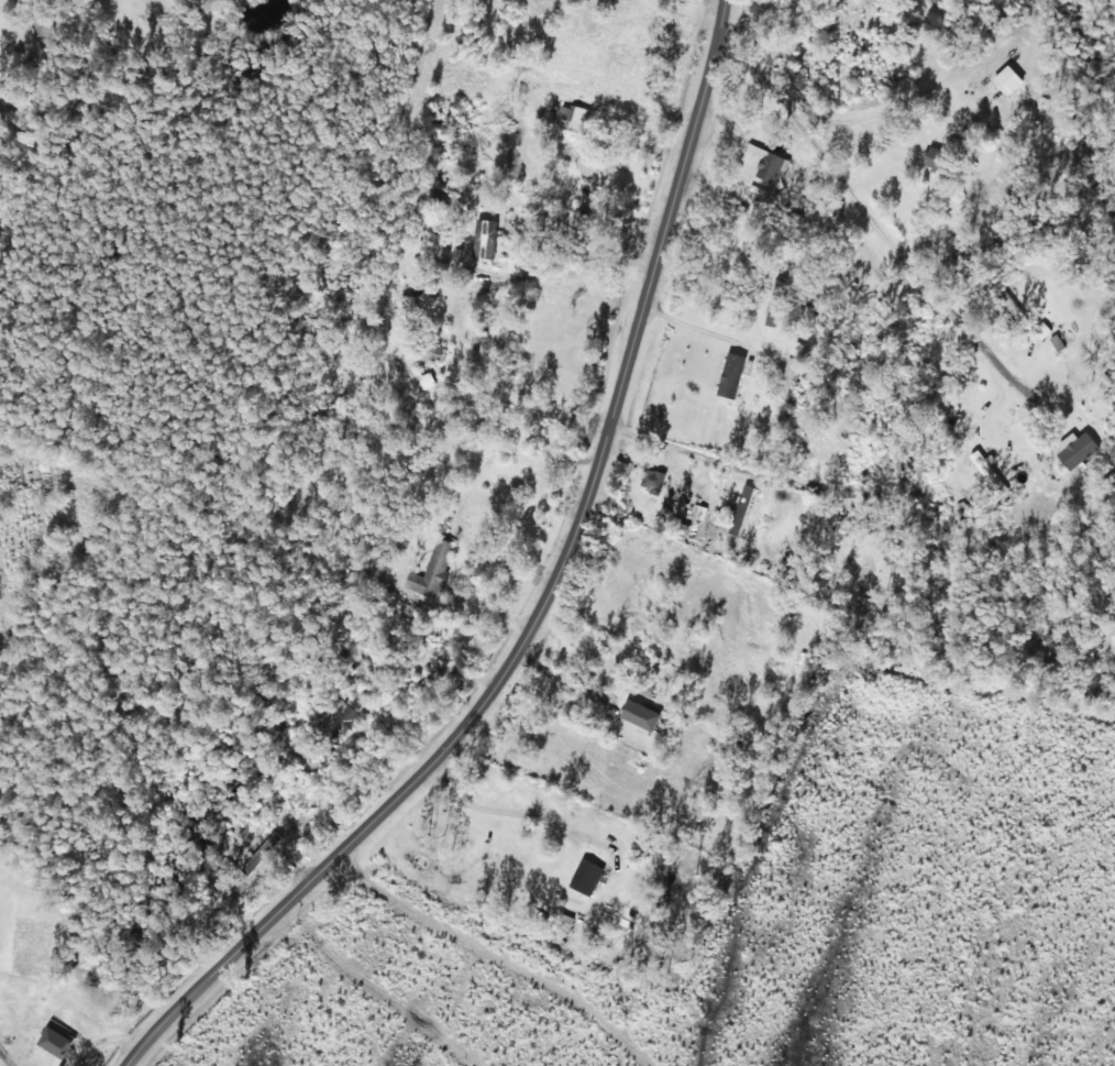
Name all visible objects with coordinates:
road: (974, 76)
building: (573, 113)
building: (934, 156)
building: (768, 166)
building: (587, 167)
building: (483, 239)
road: (886, 243)
building: (1057, 341)
building: (431, 352)
building: (729, 374)
building: (786, 378)
building: (1077, 450)
building: (984, 468)
building: (652, 480)
building: (743, 501)
building: (433, 567)
road: (544, 602)
building: (585, 877)
road: (454, 966)

